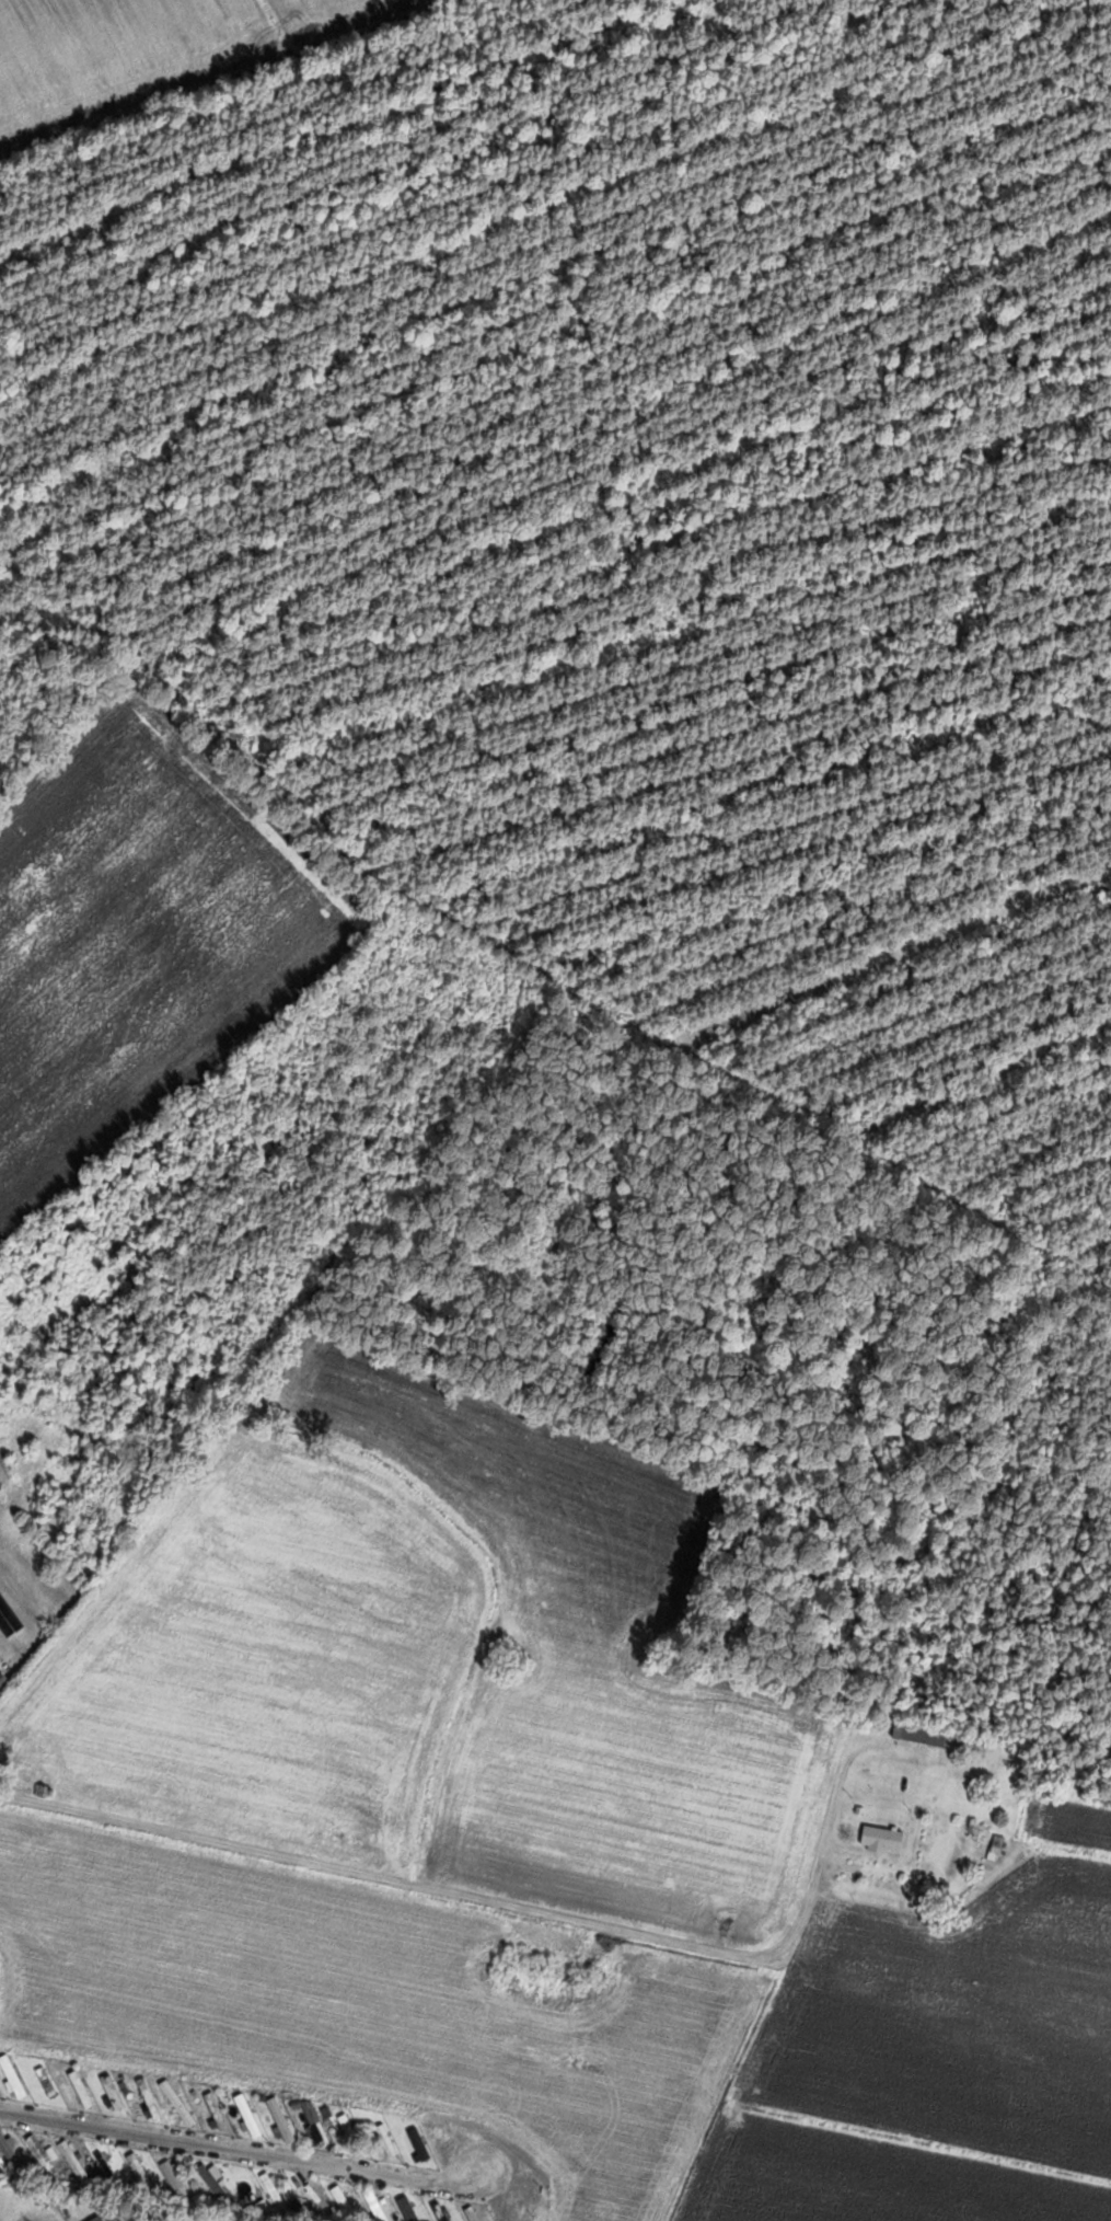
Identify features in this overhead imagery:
building: (926, 1736)
building: (886, 1839)
road: (499, 1902)
building: (15, 2075)
building: (50, 2081)
building: (84, 2088)
building: (115, 2091)
building: (152, 2099)
building: (182, 2103)
building: (219, 2110)
building: (252, 2115)
building: (321, 2126)
building: (390, 2139)
building: (423, 2143)
road: (243, 2149)
building: (12, 2150)
building: (45, 2155)
building: (77, 2160)
building: (109, 2166)
building: (177, 2178)
building: (215, 2184)
building: (276, 2186)
building: (348, 2203)
building: (409, 2207)
building: (12, 2210)
building: (109, 2216)

